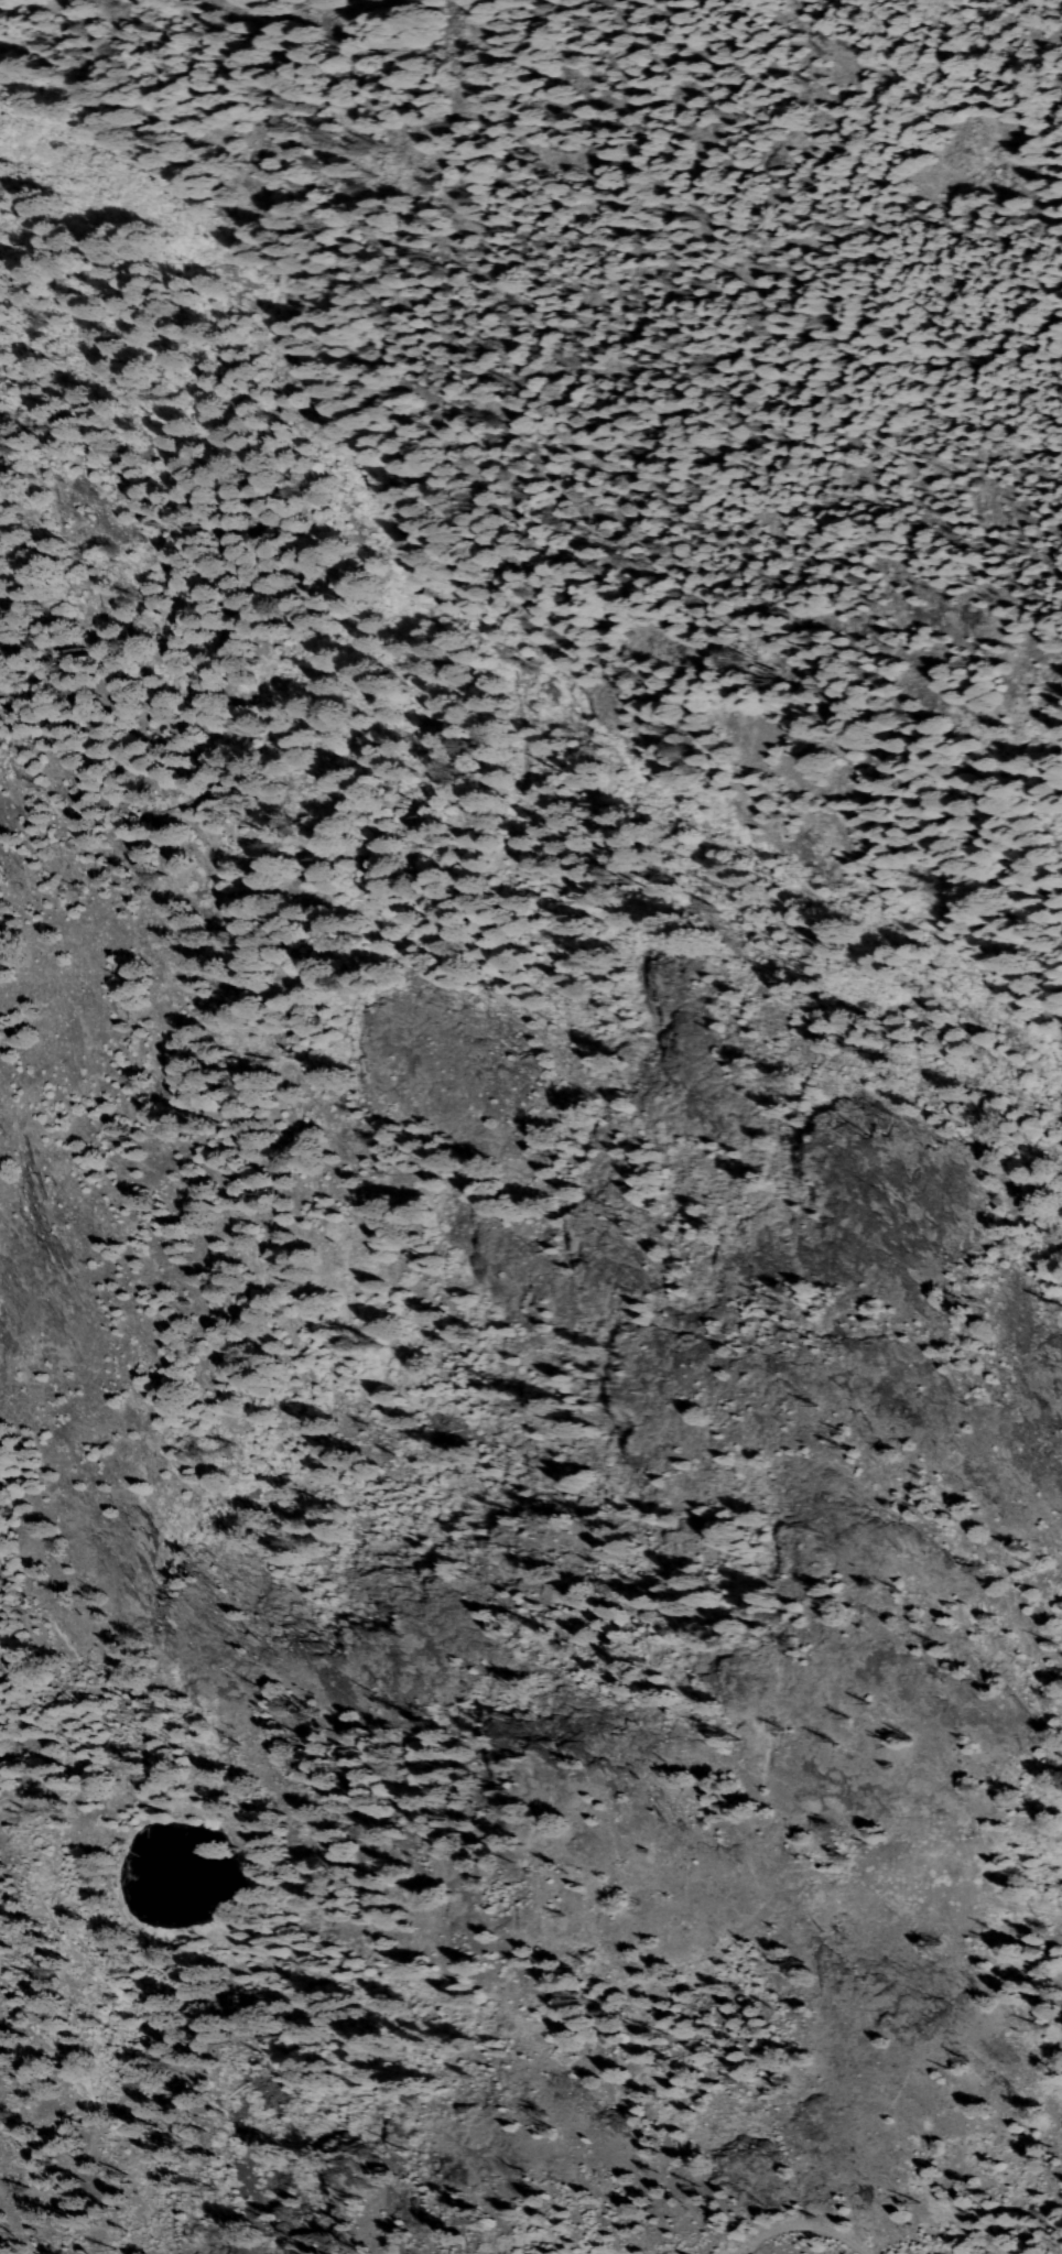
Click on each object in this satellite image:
road: (969, 1899)
road: (806, 2229)

